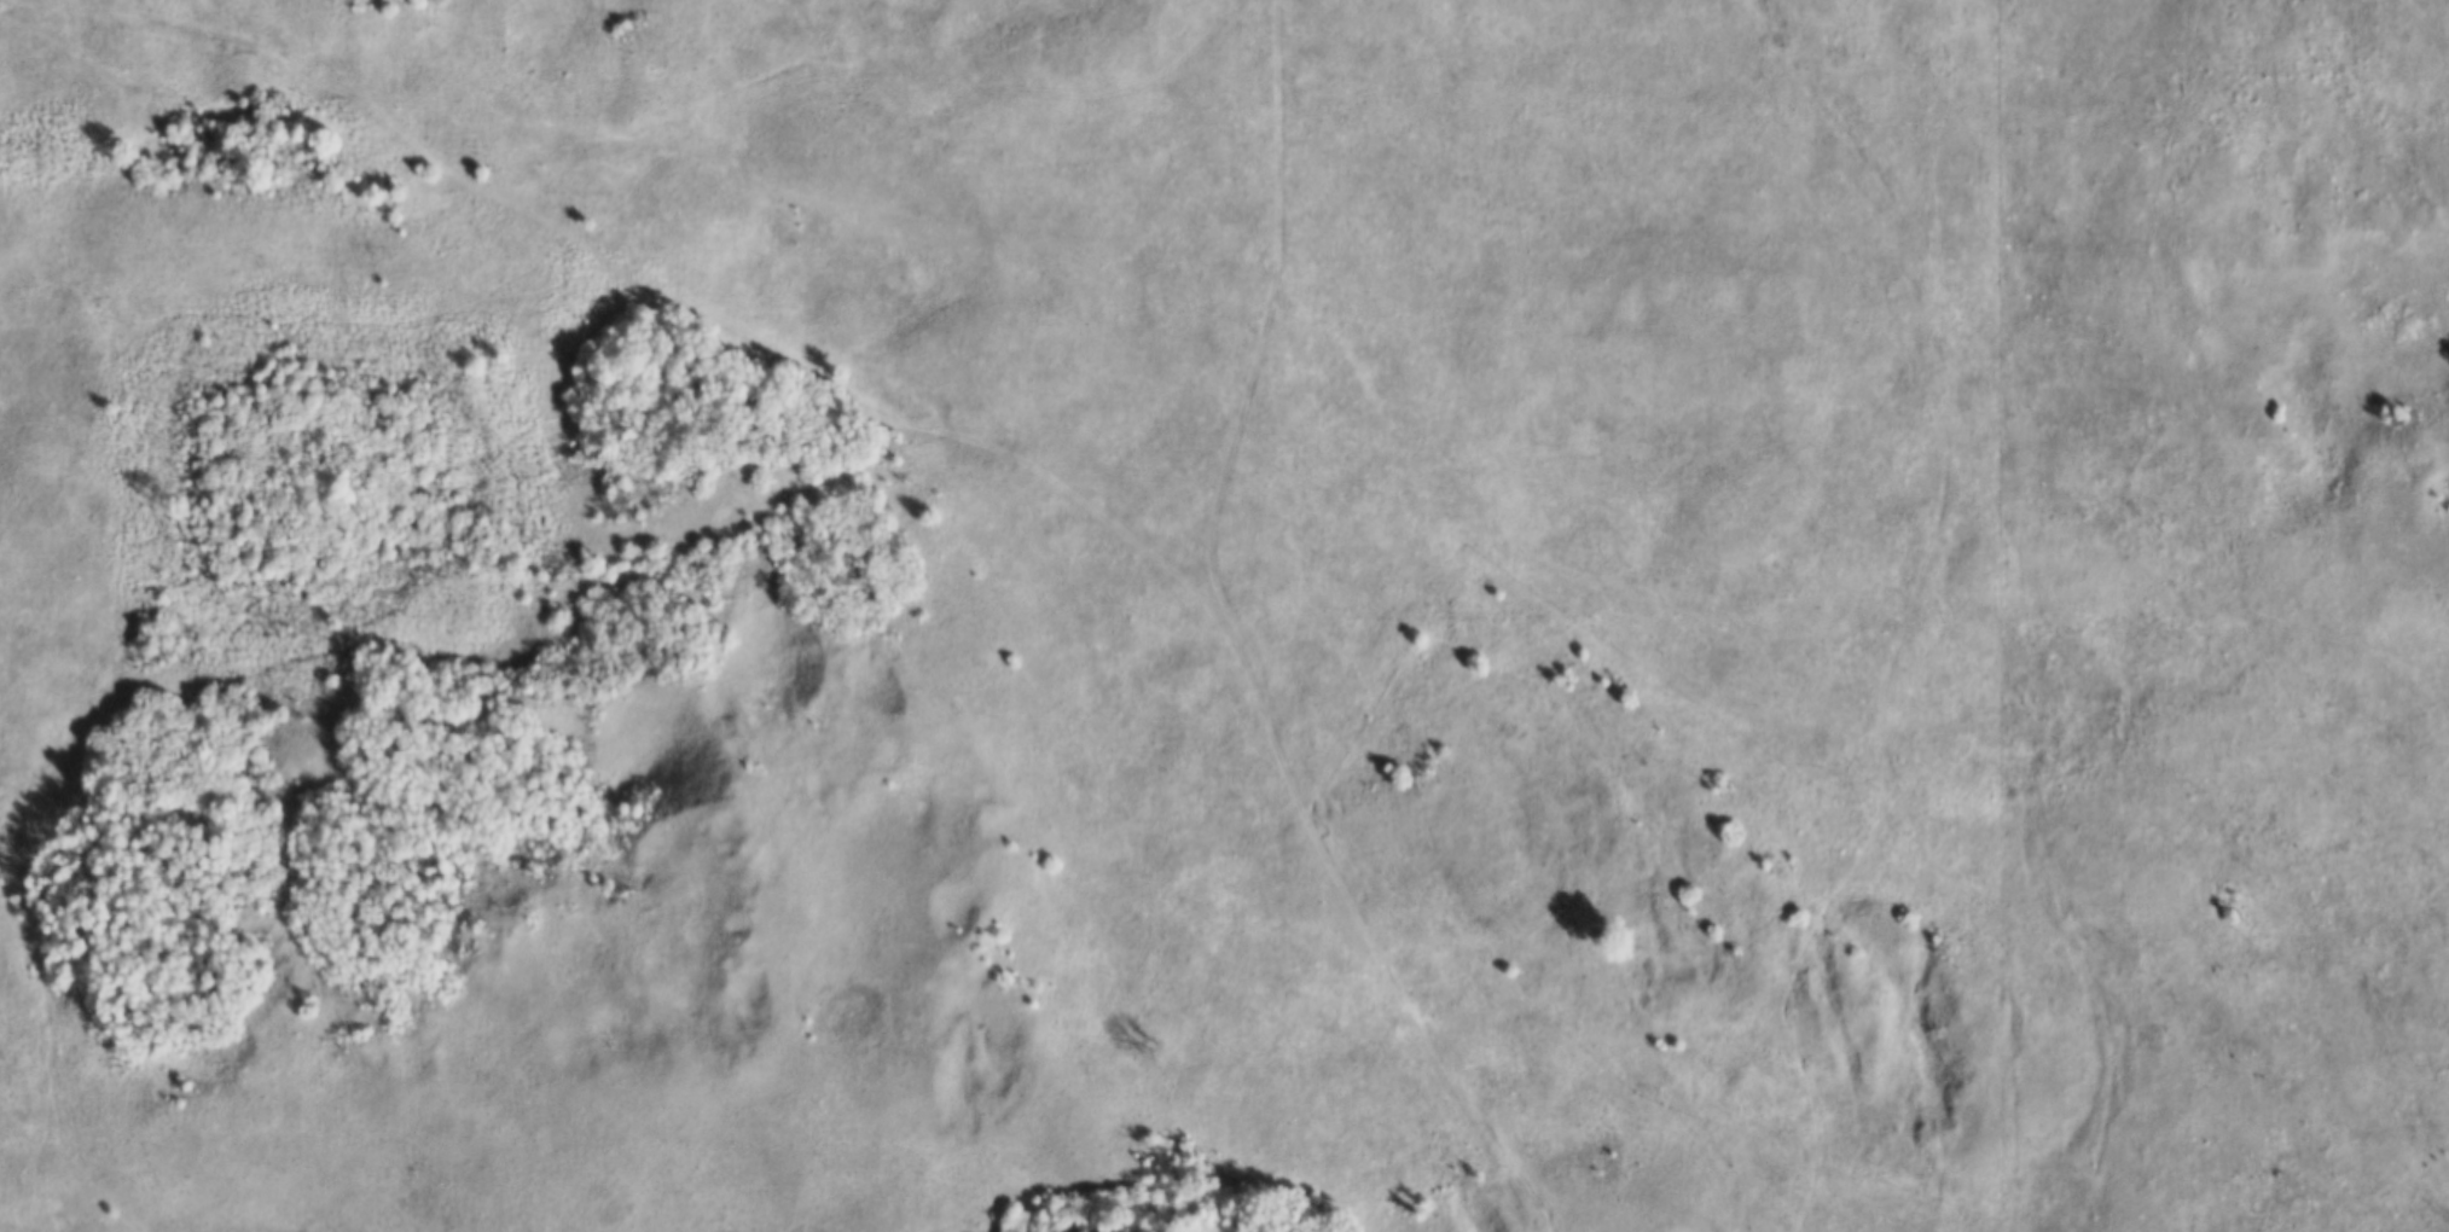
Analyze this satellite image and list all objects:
road: (2424, 28)

